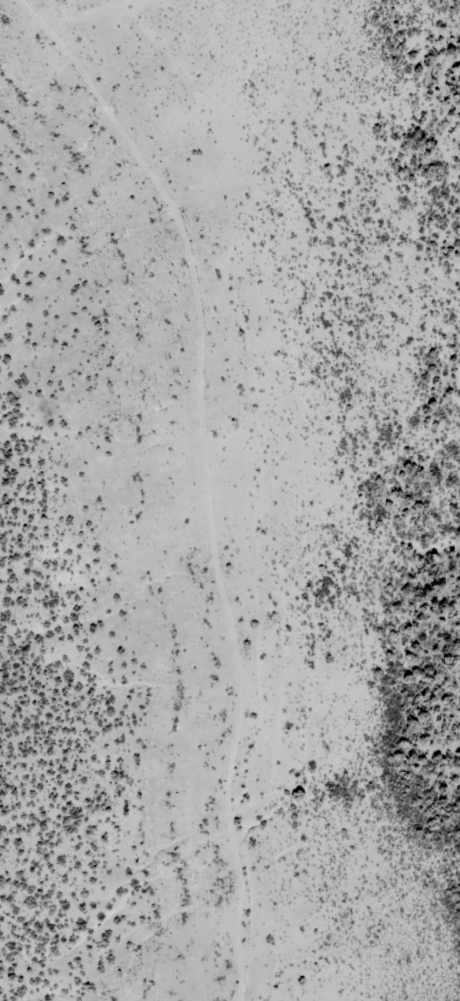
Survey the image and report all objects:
road: (225, 486)

